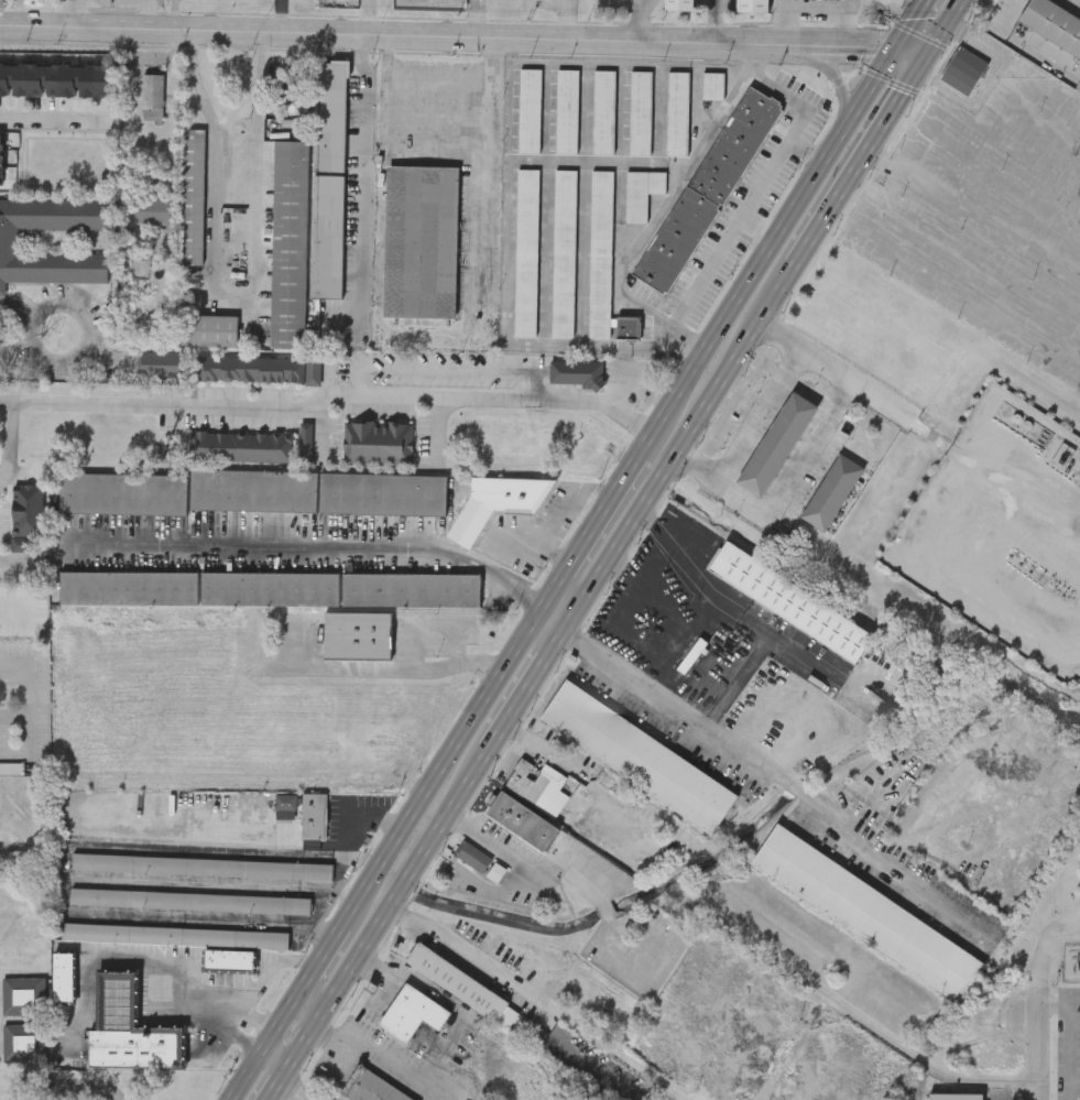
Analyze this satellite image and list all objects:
building: (677, 6)
building: (752, 6)
road: (73, 12)
road: (149, 13)
road: (280, 14)
road: (370, 17)
road: (639, 17)
road: (566, 18)
road: (717, 20)
road: (786, 21)
road: (850, 22)
road: (913, 22)
building: (1054, 24)
road: (943, 29)
road: (463, 34)
road: (1025, 45)
traffic signals: (898, 46)
traffic signals: (926, 58)
building: (962, 70)
road: (1019, 70)
road: (836, 73)
building: (53, 80)
road: (985, 80)
building: (712, 86)
building: (284, 88)
road: (408, 96)
building: (528, 110)
building: (566, 111)
building: (602, 111)
building: (640, 112)
building: (676, 113)
building: (329, 116)
road: (53, 120)
road: (981, 126)
road: (808, 150)
building: (1, 161)
road: (885, 162)
road: (851, 174)
road: (364, 175)
road: (490, 175)
road: (869, 188)
building: (707, 190)
building: (641, 193)
road: (755, 195)
building: (192, 196)
road: (662, 206)
road: (760, 227)
road: (991, 227)
road: (1061, 227)
building: (326, 237)
building: (10, 240)
building: (421, 241)
building: (287, 244)
road: (773, 244)
building: (525, 252)
building: (563, 253)
building: (603, 264)
road: (938, 287)
road: (230, 297)
road: (37, 307)
building: (209, 329)
building: (160, 364)
building: (249, 368)
building: (577, 372)
road: (336, 392)
road: (6, 399)
road: (761, 414)
road: (9, 442)
building: (375, 443)
road: (951, 443)
building: (775, 444)
building: (239, 446)
road: (816, 447)
building: (1060, 447)
road: (673, 456)
building: (317, 491)
building: (830, 491)
building: (122, 493)
building: (498, 504)
road: (598, 527)
road: (317, 546)
road: (621, 554)
road: (21, 556)
road: (643, 575)
building: (270, 589)
building: (787, 600)
road: (727, 603)
road: (558, 616)
building: (1076, 627)
building: (357, 634)
road: (670, 638)
road: (462, 656)
road: (737, 685)
road: (526, 686)
road: (26, 695)
building: (636, 756)
road: (773, 785)
building: (537, 786)
building: (286, 801)
building: (315, 815)
building: (522, 820)
road: (389, 854)
building: (484, 860)
building: (204, 865)
road: (67, 868)
road: (216, 885)
road: (504, 894)
road: (602, 898)
building: (190, 900)
road: (386, 910)
building: (866, 912)
building: (175, 934)
road: (462, 945)
building: (228, 959)
road: (122, 961)
road: (328, 971)
building: (62, 977)
building: (461, 985)
building: (24, 996)
road: (846, 1006)
road: (223, 1011)
building: (412, 1012)
building: (128, 1028)
road: (1071, 1028)
building: (24, 1042)
road: (445, 1049)
road: (1034, 1055)
road: (276, 1058)
road: (277, 1082)
building: (369, 1087)
road: (290, 1090)
building: (953, 1096)
road: (994, 1099)

